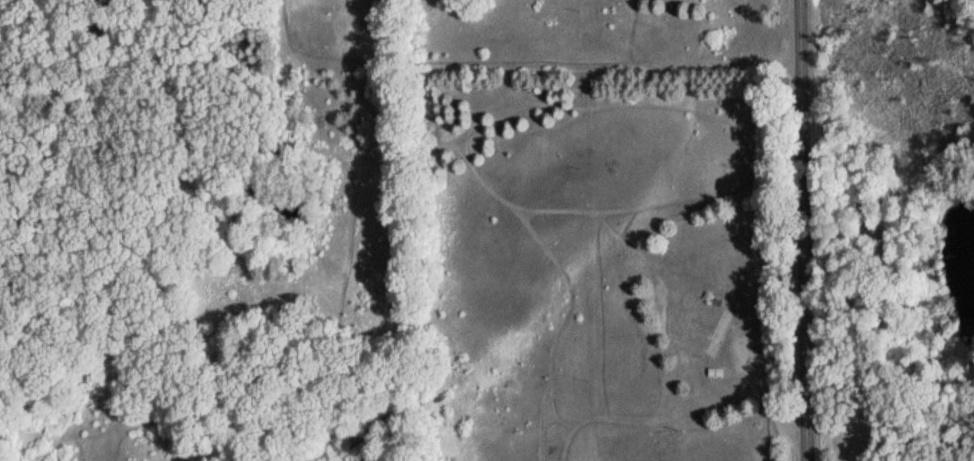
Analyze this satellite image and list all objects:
road: (809, 230)
building: (718, 334)

